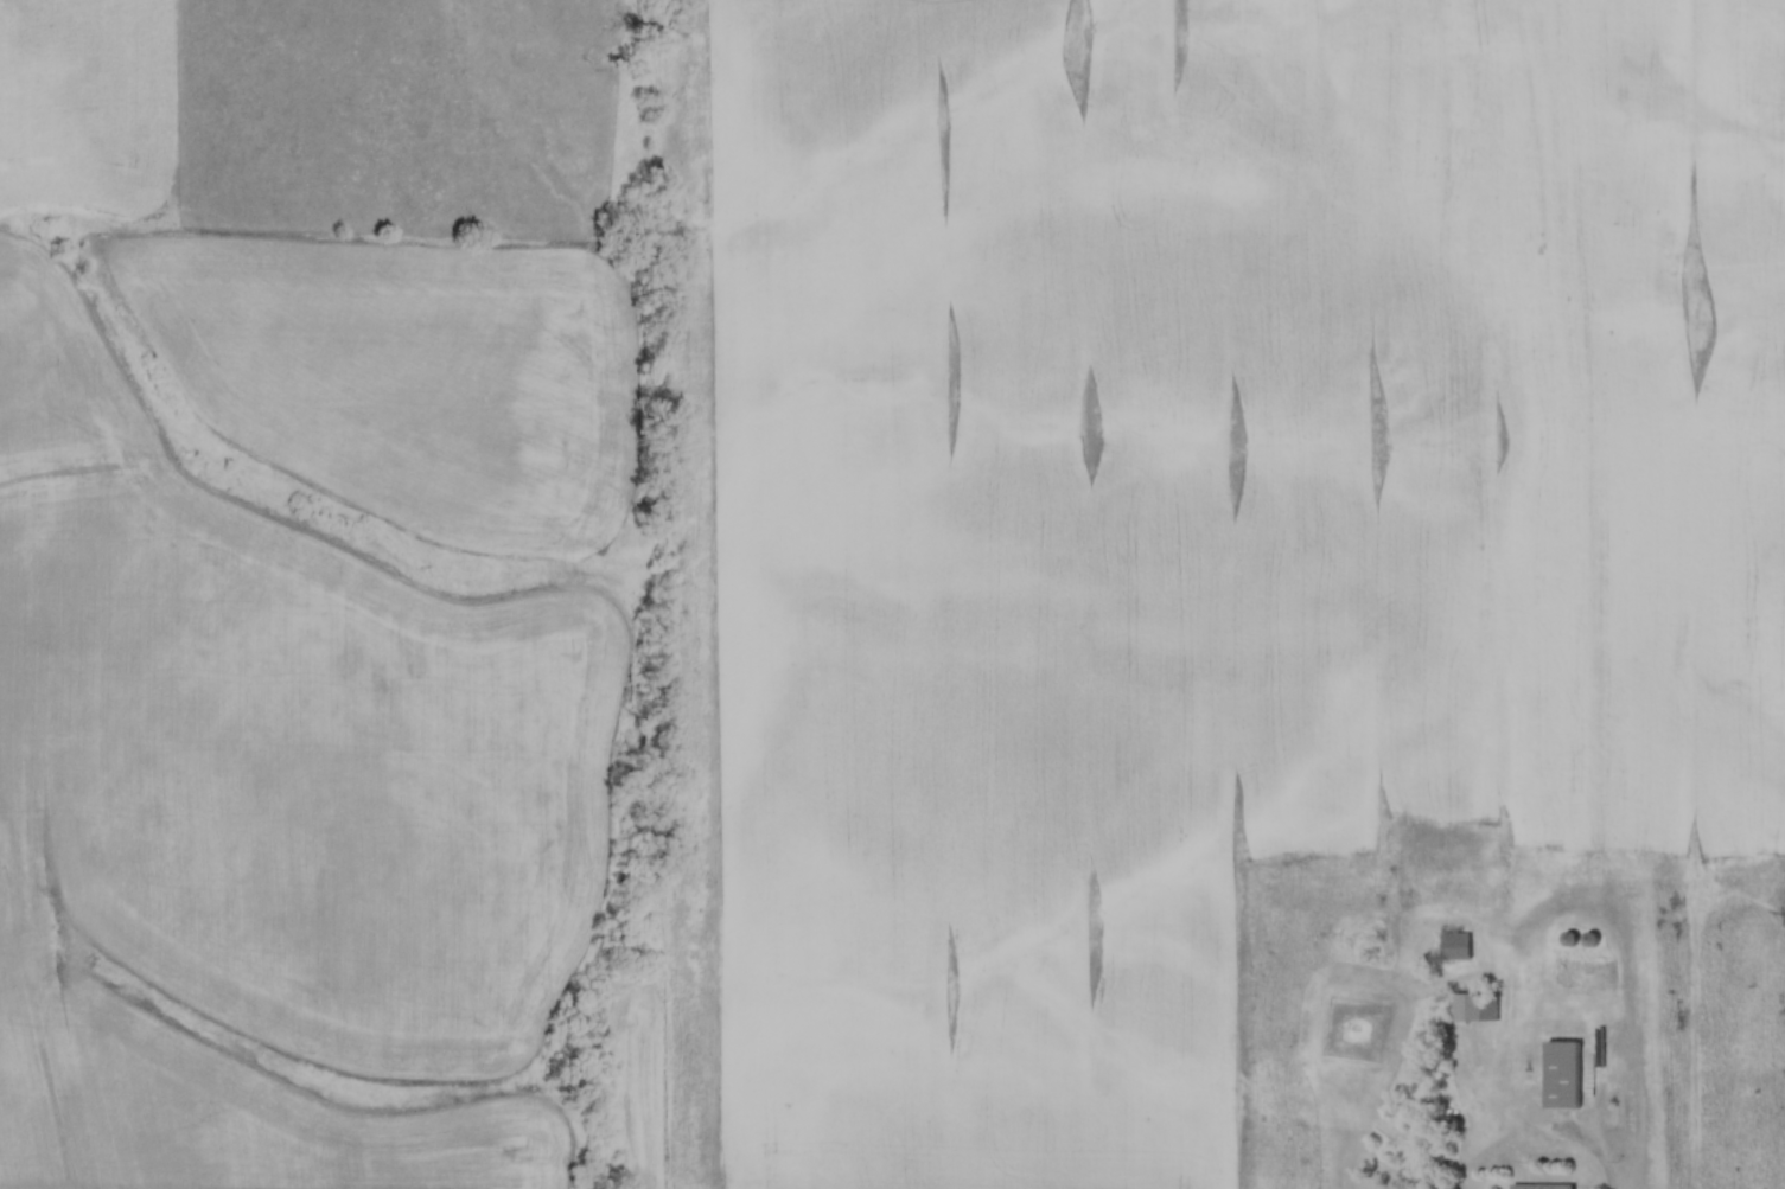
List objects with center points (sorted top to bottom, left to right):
building: (1574, 940)
building: (1594, 940)
building: (1460, 947)
building: (1475, 1009)
building: (1567, 1076)
road: (1596, 1162)

